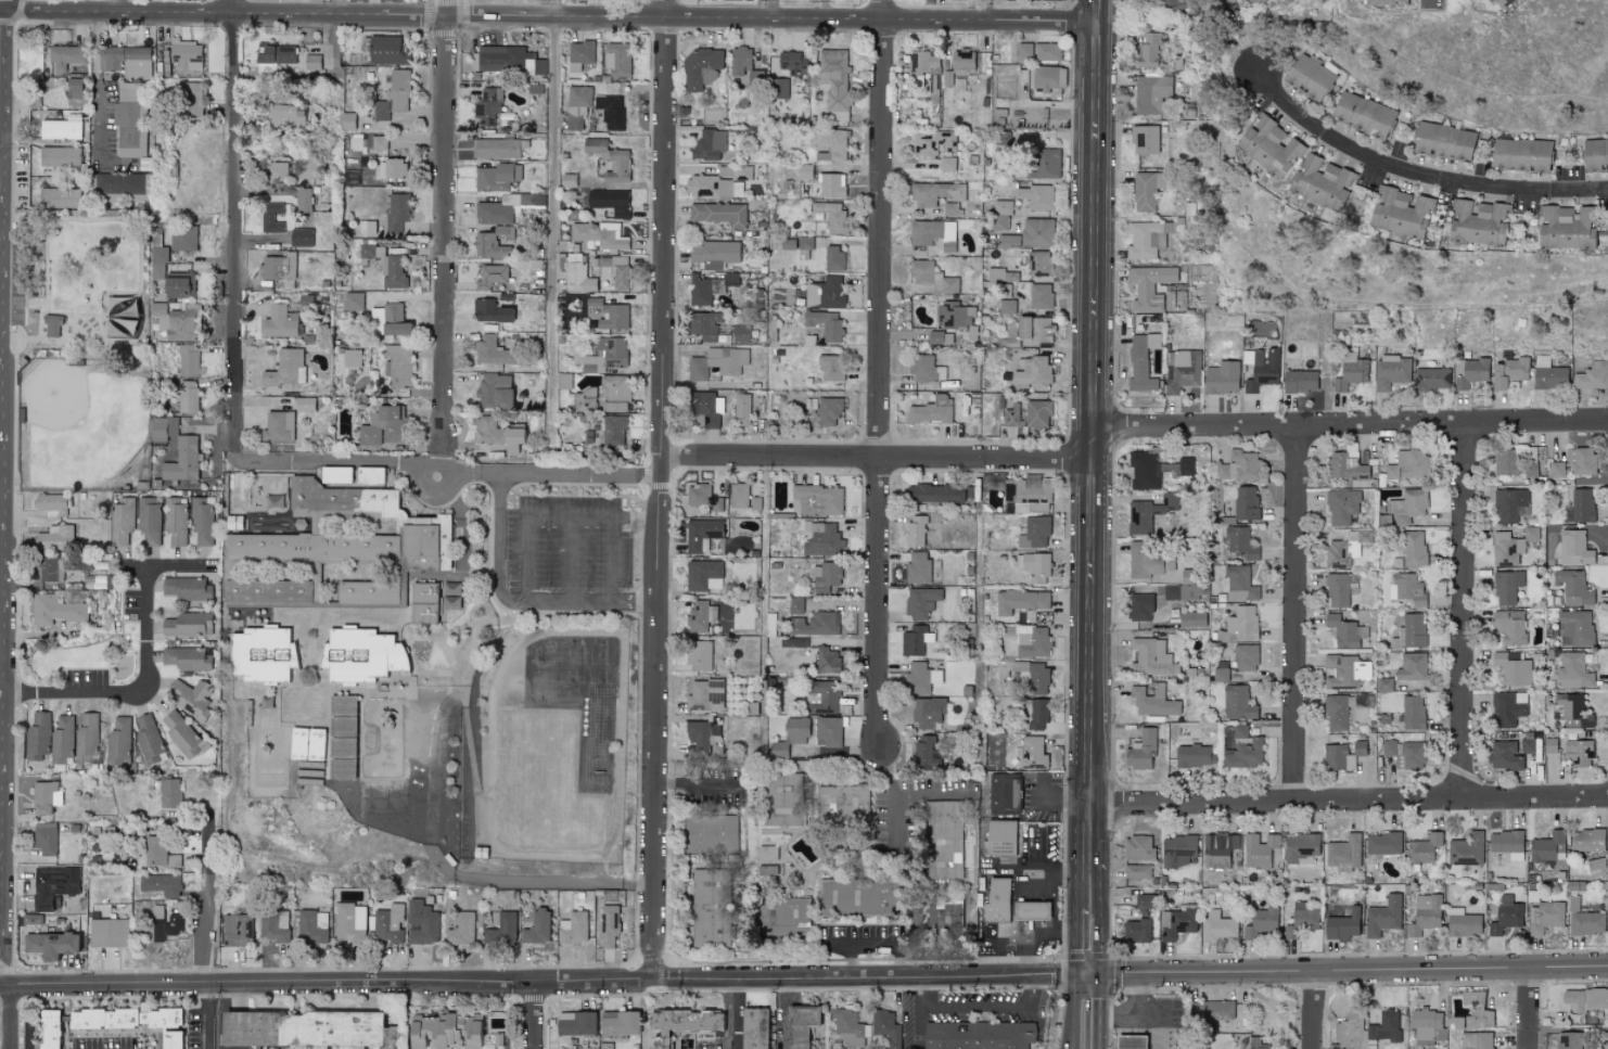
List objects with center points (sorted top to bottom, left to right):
building: (1252, 0)
building: (1382, 1)
road: (1431, 2)
building: (1494, 2)
building: (1428, 4)
road: (14, 8)
road: (120, 8)
road: (339, 8)
road: (775, 8)
road: (987, 9)
road: (549, 15)
building: (1024, 50)
building: (386, 51)
building: (1047, 51)
building: (1149, 51)
building: (273, 54)
building: (579, 54)
building: (182, 55)
building: (66, 56)
building: (500, 57)
building: (126, 60)
building: (617, 60)
building: (741, 60)
building: (962, 60)
building: (312, 62)
building: (792, 63)
building: (923, 63)
building: (539, 66)
building: (700, 68)
building: (833, 77)
building: (1310, 77)
building: (1049, 79)
building: (950, 80)
building: (779, 88)
road: (98, 91)
building: (128, 92)
building: (1151, 93)
building: (394, 94)
building: (579, 95)
building: (487, 105)
building: (611, 112)
building: (1035, 112)
building: (1363, 114)
building: (285, 116)
building: (837, 116)
building: (575, 117)
building: (346, 120)
building: (63, 128)
building: (129, 130)
building: (1145, 139)
building: (1442, 141)
building: (380, 142)
building: (832, 143)
building: (932, 143)
building: (707, 144)
building: (1269, 145)
building: (498, 148)
building: (1520, 154)
building: (1594, 154)
building: (60, 156)
building: (609, 159)
building: (948, 163)
building: (1046, 164)
building: (391, 168)
road: (1421, 168)
building: (276, 170)
building: (804, 171)
building: (742, 172)
road: (1114, 176)
building: (350, 177)
building: (497, 177)
building: (570, 180)
building: (1322, 181)
building: (831, 184)
building: (120, 187)
building: (714, 187)
building: (1151, 190)
building: (935, 193)
building: (1035, 196)
building: (60, 197)
building: (303, 200)
building: (532, 200)
building: (610, 201)
building: (950, 208)
building: (397, 210)
building: (1401, 212)
building: (494, 213)
building: (719, 214)
building: (1000, 214)
building: (831, 215)
building: (271, 217)
road: (551, 220)
road: (1118, 221)
building: (1478, 221)
building: (367, 227)
building: (1565, 227)
road: (232, 230)
building: (932, 233)
building: (1037, 233)
building: (155, 234)
building: (600, 234)
building: (299, 236)
road: (446, 236)
building: (182, 239)
building: (1148, 239)
building: (1008, 241)
building: (493, 242)
building: (804, 242)
building: (714, 252)
building: (833, 257)
building: (1042, 264)
building: (386, 265)
building: (279, 266)
building: (615, 271)
building: (575, 273)
building: (1000, 274)
building: (170, 276)
building: (490, 276)
building: (932, 277)
building: (1149, 286)
building: (704, 290)
building: (826, 293)
building: (1041, 296)
building: (349, 300)
building: (1006, 306)
building: (489, 311)
building: (954, 316)
building: (614, 317)
building: (388, 320)
building: (174, 322)
building: (279, 322)
building: (824, 323)
building: (705, 324)
building: (52, 325)
building: (1033, 329)
building: (126, 330)
building: (740, 334)
building: (934, 337)
park: (84, 349)
building: (493, 351)
building: (605, 355)
building: (352, 358)
building: (188, 360)
building: (1141, 361)
building: (717, 362)
building: (400, 366)
building: (285, 368)
building: (830, 368)
building: (1261, 368)
building: (927, 369)
building: (1181, 370)
building: (1032, 371)
building: (1350, 371)
building: (1392, 371)
building: (1470, 372)
building: (1508, 372)
road: (881, 373)
building: (1548, 374)
building: (1592, 376)
building: (1221, 378)
building: (1432, 379)
building: (564, 381)
building: (1299, 381)
building: (494, 392)
road: (1095, 392)
building: (614, 393)
building: (588, 395)
building: (187, 396)
building: (304, 404)
building: (705, 408)
building: (741, 409)
building: (827, 410)
building: (931, 410)
building: (1037, 413)
building: (1011, 415)
park: (82, 419)
road: (1351, 423)
building: (278, 426)
building: (382, 426)
building: (163, 427)
building: (613, 430)
building: (495, 433)
road: (879, 459)
building: (1582, 460)
building: (182, 461)
building: (1516, 462)
building: (1347, 464)
building: (1408, 464)
building: (1238, 465)
building: (1185, 466)
building: (1557, 469)
building: (1144, 471)
road: (447, 473)
building: (335, 474)
building: (369, 474)
building: (993, 483)
road: (664, 488)
building: (1028, 491)
building: (934, 494)
building: (739, 495)
building: (703, 497)
building: (817, 500)
building: (756, 503)
building: (1246, 503)
building: (52, 504)
building: (1509, 504)
building: (1407, 506)
building: (1582, 506)
building: (1342, 507)
building: (1149, 512)
road: (594, 517)
building: (122, 521)
building: (149, 521)
building: (176, 521)
building: (202, 521)
building: (234, 522)
building: (352, 529)
building: (916, 530)
road: (10, 532)
building: (1036, 532)
building: (1526, 533)
building: (702, 535)
building: (1364, 536)
building: (54, 538)
building: (822, 540)
building: (1240, 543)
road: (500, 545)
parking lot: (571, 545)
building: (1574, 548)
building: (1506, 549)
building: (1413, 550)
building: (1337, 553)
road: (525, 558)
road: (572, 558)
road: (613, 559)
building: (1149, 559)
building: (81, 564)
building: (1034, 566)
road: (164, 567)
building: (49, 568)
building: (918, 568)
building: (701, 574)
building: (825, 577)
building: (1239, 581)
building: (1507, 587)
building: (1573, 587)
building: (187, 588)
building: (1406, 588)
building: (1337, 590)
building: (266, 591)
building: (1184, 591)
building: (367, 592)
road: (595, 599)
building: (1020, 601)
building: (920, 602)
building: (422, 603)
building: (795, 605)
building: (1139, 606)
building: (54, 610)
road: (1465, 611)
road: (1298, 614)
building: (700, 616)
building: (1191, 619)
building: (1242, 623)
building: (188, 624)
building: (815, 624)
building: (1511, 626)
building: (1575, 628)
building: (769, 629)
building: (1414, 630)
building: (1344, 631)
building: (1398, 638)
building: (915, 640)
building: (1031, 641)
building: (794, 644)
building: (261, 654)
building: (359, 654)
building: (699, 656)
building: (186, 657)
building: (1151, 657)
building: (1246, 657)
building: (827, 660)
building: (1412, 667)
building: (1511, 668)
building: (1345, 671)
building: (1573, 671)
building: (1034, 676)
building: (920, 678)
building: (1384, 685)
road: (137, 690)
building: (705, 695)
building: (189, 696)
building: (821, 696)
building: (1153, 702)
building: (1237, 703)
building: (1362, 706)
building: (1509, 707)
building: (1570, 708)
building: (1412, 712)
building: (928, 713)
building: (1035, 713)
building: (1336, 714)
building: (341, 716)
building: (796, 730)
building: (181, 732)
building: (828, 732)
building: (698, 735)
building: (38, 737)
building: (88, 738)
building: (149, 739)
building: (63, 741)
building: (1527, 742)
building: (120, 744)
building: (306, 744)
building: (1550, 745)
building: (342, 747)
building: (1387, 747)
building: (778, 750)
building: (1140, 750)
building: (1243, 750)
building: (1578, 752)
building: (926, 753)
building: (1032, 753)
building: (1194, 755)
building: (1412, 755)
building: (1342, 756)
building: (1505, 756)
road: (703, 788)
building: (167, 793)
building: (1005, 793)
building: (44, 797)
road: (934, 797)
road: (895, 798)
road: (1349, 803)
road: (1049, 806)
road: (1090, 823)
building: (999, 837)
building: (46, 840)
building: (942, 840)
building: (1587, 841)
building: (1383, 844)
building: (1507, 844)
building: (1300, 847)
building: (1548, 847)
building: (1138, 848)
building: (1422, 848)
building: (1466, 849)
building: (156, 850)
building: (1177, 850)
building: (1259, 850)
building: (1220, 852)
building: (1343, 853)
building: (175, 861)
building: (766, 870)
road: (1024, 870)
building: (1137, 871)
building: (162, 884)
road: (1055, 884)
building: (53, 885)
road: (1089, 886)
building: (839, 899)
building: (995, 900)
building: (1145, 900)
road: (205, 907)
road: (1014, 907)
building: (1031, 910)
building: (706, 911)
building: (934, 913)
building: (1425, 914)
building: (1505, 916)
building: (781, 917)
building: (1382, 917)
building: (1545, 917)
building: (30, 919)
building: (1301, 920)
building: (1584, 920)
road: (1089, 922)
building: (350, 923)
building: (388, 923)
building: (422, 923)
building: (1177, 923)
building: (1261, 923)
building: (1462, 923)
building: (167, 924)
building: (275, 925)
building: (610, 925)
building: (1218, 925)
building: (1343, 925)
building: (312, 926)
building: (499, 928)
building: (536, 928)
building: (573, 929)
building: (237, 930)
building: (461, 930)
road: (1001, 931)
building: (1135, 931)
building: (109, 933)
road: (1072, 934)
road: (1026, 942)
road: (875, 944)
building: (50, 945)
road: (835, 945)
road: (1089, 956)
road: (1376, 972)
road: (1118, 976)
road: (1060, 977)
road: (1029, 978)
road: (512, 980)
road: (1145, 993)
road: (1088, 995)
building: (1585, 999)
road: (977, 1009)
road: (1526, 1009)
building: (1211, 1010)
road: (1115, 1011)
road: (1313, 1011)
road: (728, 1013)
road: (739, 1013)
road: (787, 1013)
building: (1472, 1013)
road: (539, 1014)
road: (202, 1016)
road: (224, 1016)
building: (101, 1019)
road: (1167, 1019)
building: (620, 1023)
building: (575, 1024)
building: (681, 1024)
building: (800, 1025)
building: (1426, 1025)
building: (1386, 1027)
building: (753, 1028)
building: (847, 1028)
building: (886, 1028)
road: (920, 1028)
building: (47, 1029)
building: (304, 1029)
building: (1351, 1029)
road: (1087, 1031)
building: (442, 1032)
building: (978, 1035)
building: (169, 1040)
building: (1476, 1040)
building: (1568, 1040)
building: (1604, 1040)
building: (1128, 1041)
building: (1208, 1041)
building: (1259, 1044)
building: (780, 1046)

